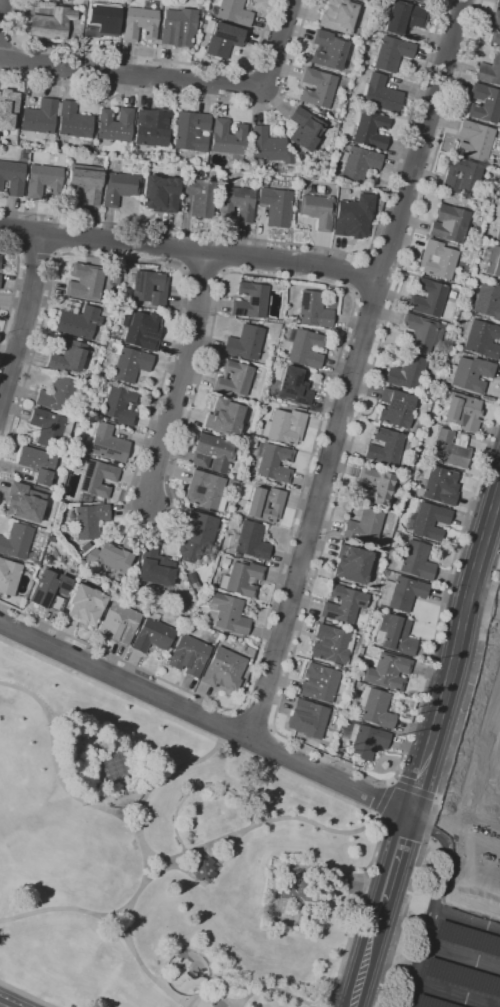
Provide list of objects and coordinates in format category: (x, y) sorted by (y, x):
building: (51, 0)
building: (422, 1)
building: (498, 3)
road: (0, 6)
building: (201, 10)
building: (232, 12)
building: (339, 15)
building: (402, 17)
building: (101, 18)
building: (496, 18)
building: (52, 24)
building: (139, 24)
building: (178, 27)
building: (495, 38)
building: (222, 39)
building: (328, 50)
building: (392, 53)
road: (146, 57)
building: (489, 70)
road: (176, 80)
building: (317, 88)
building: (381, 94)
road: (193, 99)
building: (484, 103)
building: (8, 109)
building: (40, 117)
building: (73, 121)
building: (115, 124)
building: (152, 128)
building: (304, 129)
building: (369, 129)
building: (191, 131)
building: (228, 139)
building: (475, 140)
building: (269, 147)
building: (23, 156)
building: (357, 162)
building: (285, 171)
building: (462, 176)
building: (12, 177)
building: (44, 181)
building: (86, 182)
building: (263, 184)
building: (119, 188)
building: (160, 194)
building: (200, 197)
building: (236, 203)
building: (276, 207)
building: (316, 211)
building: (354, 217)
building: (449, 223)
building: (497, 228)
road: (316, 247)
road: (35, 252)
road: (190, 252)
building: (0, 258)
building: (437, 260)
building: (492, 261)
road: (358, 275)
building: (115, 279)
building: (86, 282)
building: (148, 287)
road: (13, 289)
building: (428, 298)
building: (250, 300)
building: (487, 301)
building: (314, 310)
road: (214, 312)
road: (24, 318)
building: (77, 321)
building: (141, 329)
building: (422, 332)
building: (481, 339)
building: (245, 342)
building: (304, 348)
building: (67, 356)
building: (440, 356)
building: (127, 363)
road: (354, 369)
building: (407, 373)
building: (469, 374)
road: (180, 379)
building: (233, 379)
building: (294, 386)
building: (425, 391)
building: (57, 395)
building: (120, 406)
building: (395, 409)
building: (463, 411)
building: (223, 417)
building: (431, 419)
building: (284, 426)
building: (49, 427)
building: (416, 428)
building: (108, 444)
building: (384, 448)
building: (450, 449)
building: (213, 453)
building: (273, 462)
building: (37, 464)
building: (350, 470)
building: (235, 476)
building: (97, 479)
building: (244, 479)
building: (400, 479)
building: (232, 483)
building: (374, 486)
building: (439, 486)
building: (205, 491)
building: (83, 499)
building: (24, 502)
building: (264, 504)
building: (89, 520)
building: (427, 521)
building: (364, 526)
building: (196, 535)
building: (250, 541)
building: (17, 543)
building: (112, 556)
building: (225, 561)
building: (414, 561)
building: (352, 564)
building: (154, 567)
building: (384, 572)
building: (8, 576)
building: (242, 579)
building: (192, 580)
building: (122, 581)
building: (49, 591)
building: (400, 594)
road: (492, 594)
road: (483, 604)
building: (85, 605)
building: (343, 605)
building: (227, 614)
road: (302, 617)
road: (493, 619)
building: (119, 623)
building: (152, 634)
building: (394, 634)
building: (330, 644)
building: (248, 652)
road: (455, 654)
building: (188, 655)
building: (224, 670)
building: (387, 672)
building: (319, 683)
building: (374, 708)
building: (313, 718)
road: (205, 720)
road: (253, 721)
road: (231, 728)
road: (487, 731)
building: (363, 739)
road: (266, 746)
building: (336, 754)
building: (116, 767)
road: (280, 770)
road: (491, 771)
road: (164, 774)
road: (397, 785)
road: (194, 788)
building: (499, 788)
road: (456, 796)
road: (477, 800)
road: (126, 809)
road: (433, 812)
road: (257, 823)
road: (433, 826)
road: (134, 828)
road: (478, 840)
road: (158, 858)
park: (160, 858)
road: (396, 859)
building: (203, 869)
road: (336, 873)
road: (209, 876)
building: (298, 890)
parking lot: (351, 891)
road: (467, 917)
road: (431, 920)
road: (116, 923)
parking lot: (460, 928)
building: (468, 938)
road: (190, 950)
road: (368, 953)
road: (462, 955)
building: (463, 977)
road: (156, 983)
road: (272, 988)
road: (455, 994)
road: (25, 995)
building: (432, 1002)
road: (187, 1004)

